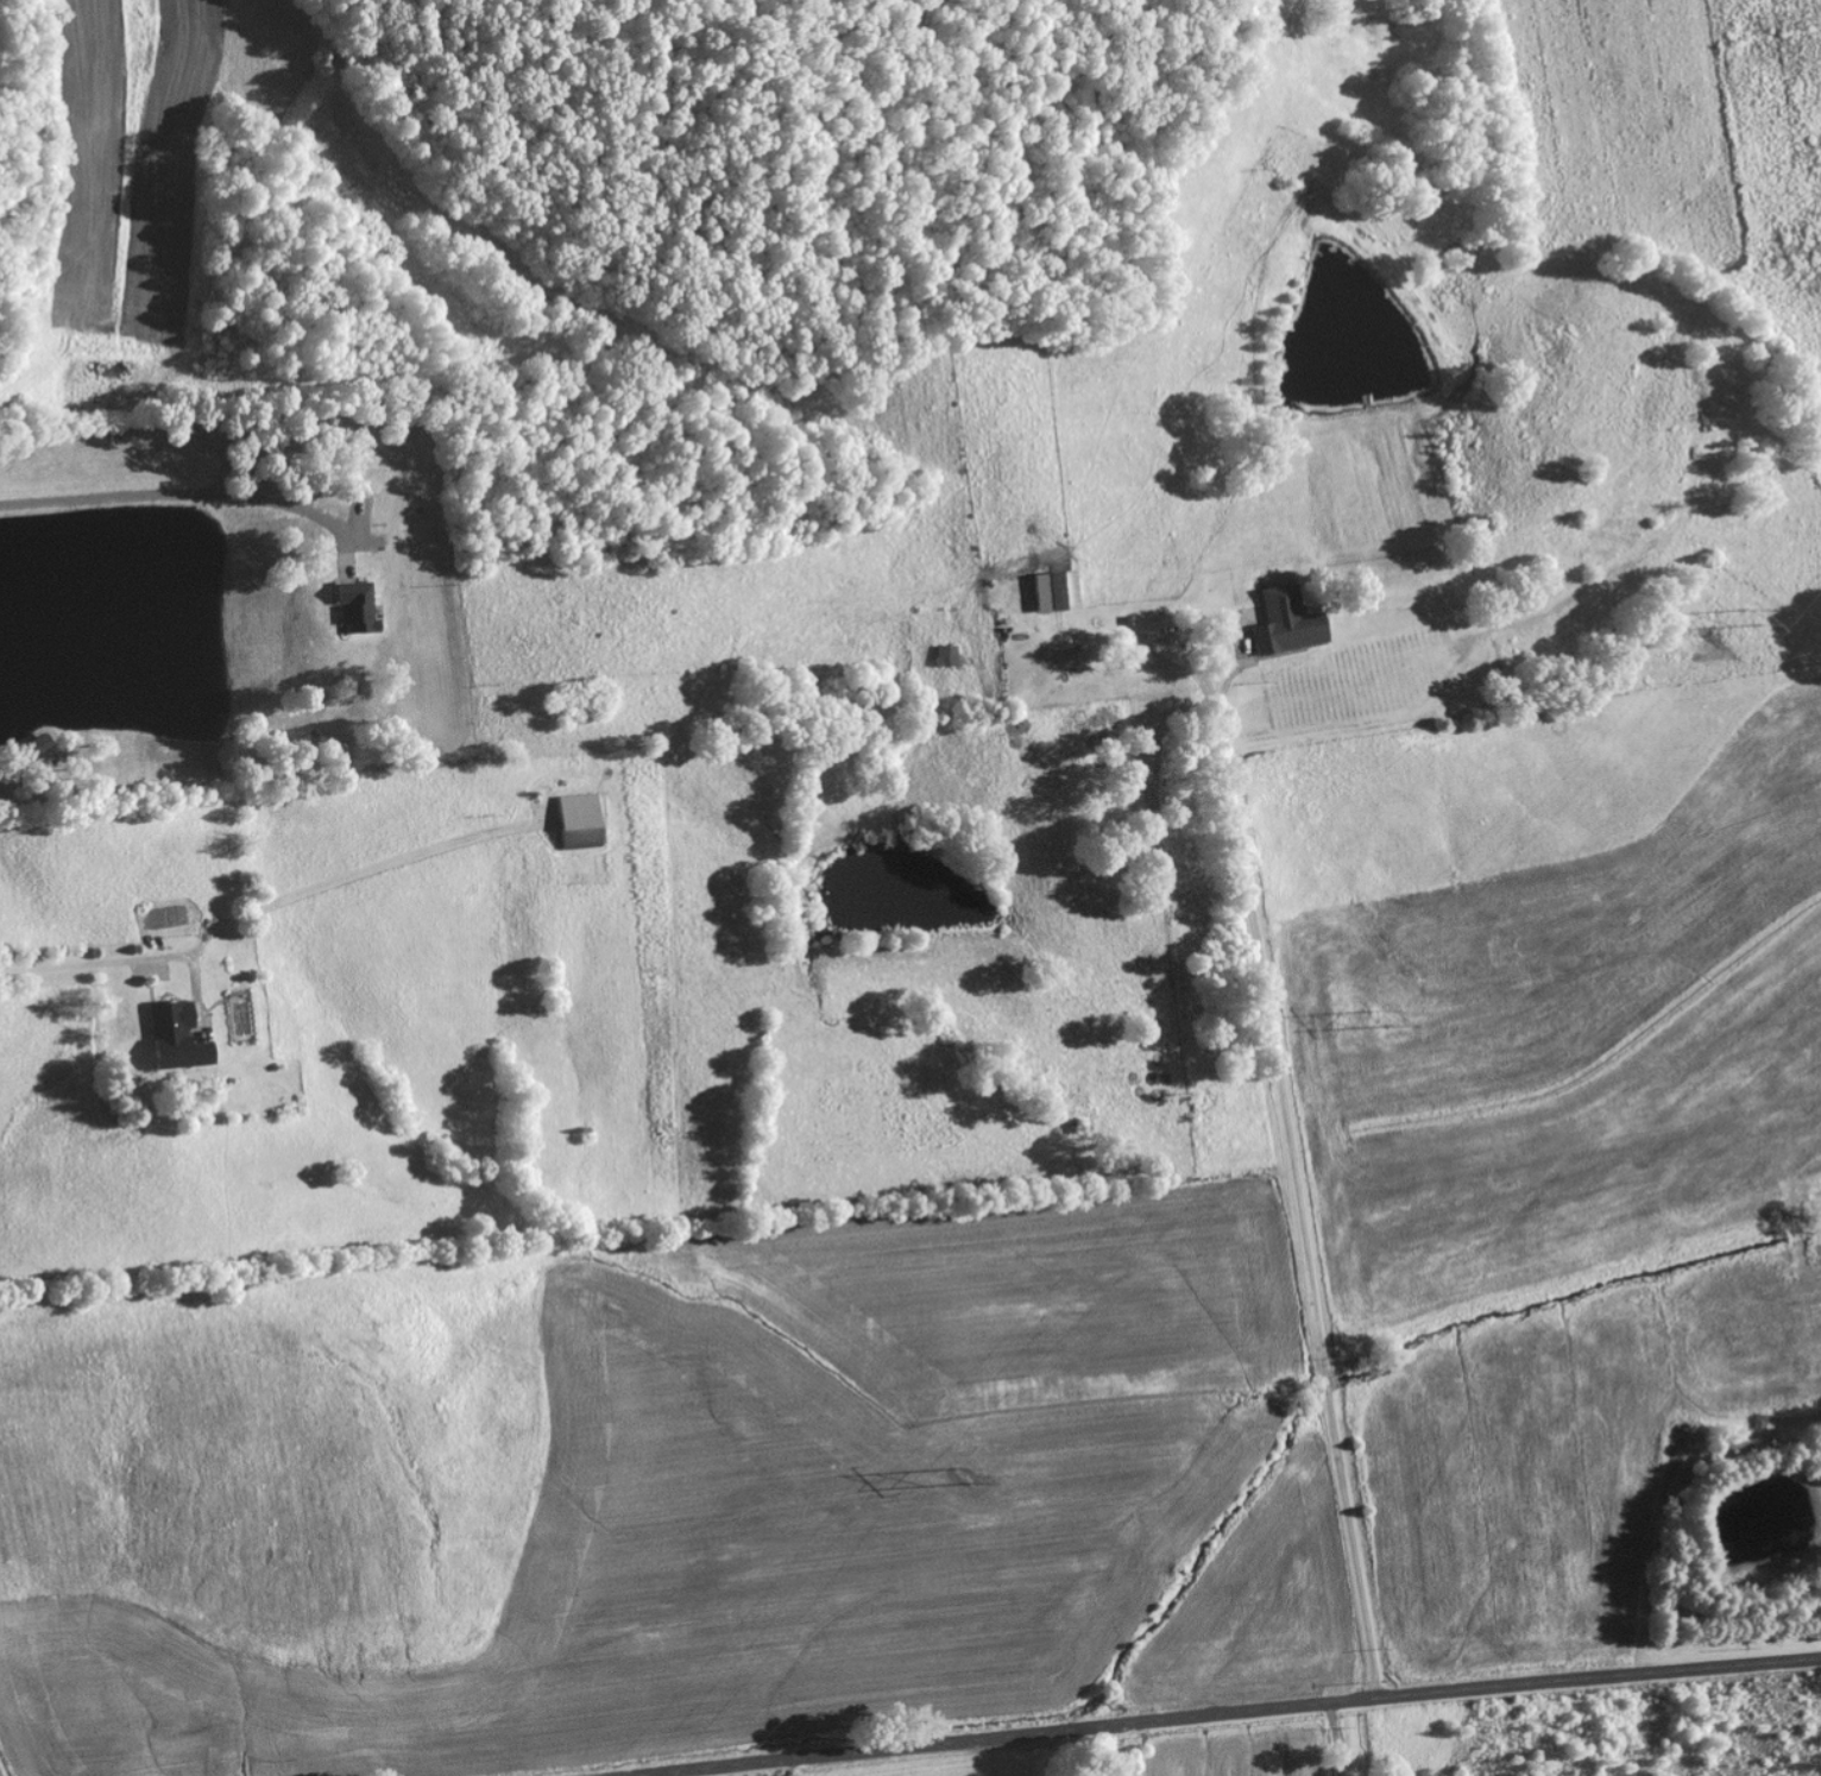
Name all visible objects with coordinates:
building: (355, 609)
power tower: (1756, 611)
building: (1285, 624)
building: (946, 656)
building: (579, 821)
power tower: (1388, 1014)
building: (175, 1038)
road: (1293, 1204)
power tower: (965, 1474)
road: (1240, 1713)

